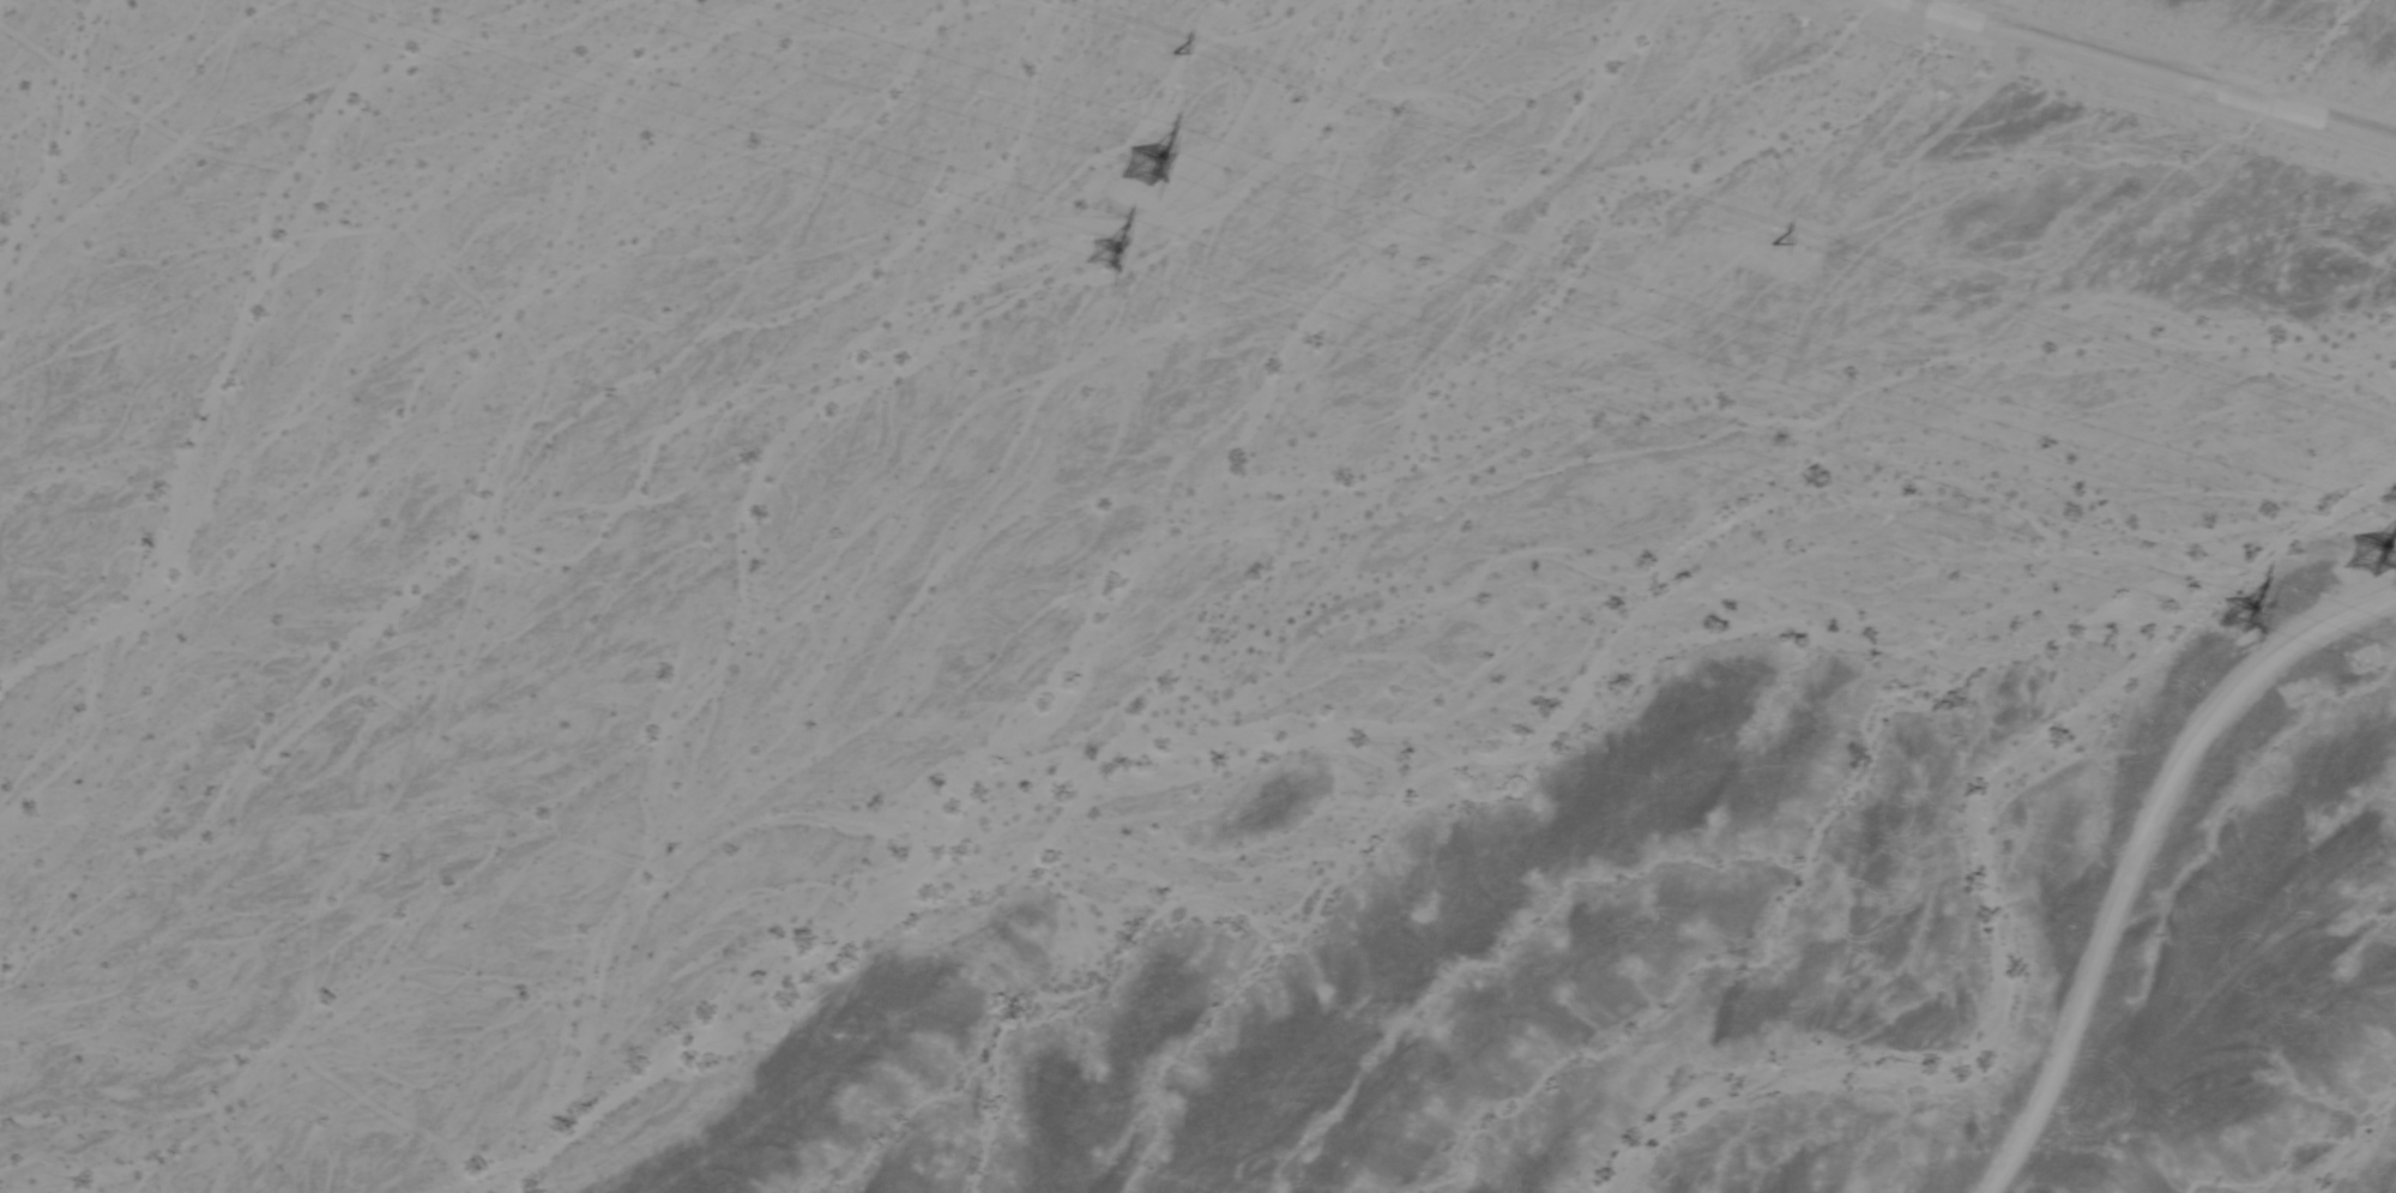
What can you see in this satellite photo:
road: (2150, 73)
power tower: (1134, 159)
power tower: (1079, 249)
power tower: (2349, 550)
power tower: (2226, 610)
road: (2136, 839)

